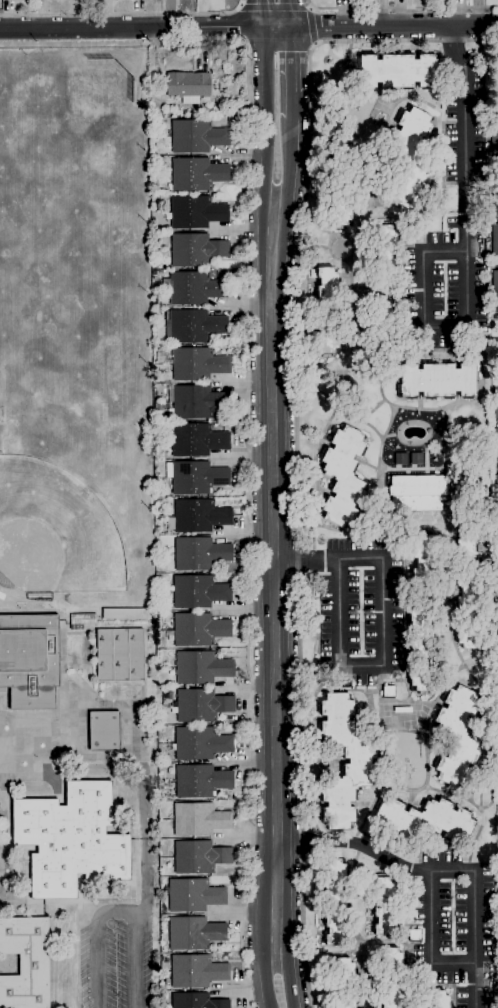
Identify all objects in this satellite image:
road: (275, 7)
road: (400, 7)
road: (277, 13)
road: (124, 14)
road: (388, 25)
road: (139, 27)
road: (312, 28)
road: (145, 33)
road: (73, 43)
building: (397, 71)
road: (287, 73)
building: (188, 86)
road: (345, 91)
park: (86, 105)
road: (269, 110)
building: (216, 112)
road: (334, 113)
road: (386, 118)
building: (494, 131)
building: (197, 136)
road: (356, 150)
building: (410, 157)
road: (288, 161)
building: (197, 174)
building: (338, 183)
building: (494, 199)
road: (381, 204)
building: (196, 212)
building: (495, 242)
road: (324, 247)
building: (195, 250)
road: (464, 253)
building: (383, 256)
building: (194, 288)
building: (495, 288)
road: (345, 305)
building: (327, 312)
building: (380, 325)
building: (194, 326)
building: (494, 346)
road: (390, 358)
building: (197, 364)
building: (438, 380)
road: (318, 392)
building: (495, 399)
building: (197, 402)
road: (375, 406)
road: (392, 410)
road: (295, 434)
road: (318, 436)
building: (197, 440)
building: (496, 446)
road: (387, 468)
building: (343, 476)
building: (197, 478)
building: (417, 493)
building: (496, 494)
building: (158, 500)
road: (370, 514)
building: (497, 515)
building: (197, 516)
road: (249, 524)
road: (397, 540)
park: (55, 541)
building: (199, 554)
building: (427, 563)
road: (273, 576)
building: (198, 592)
building: (470, 594)
road: (417, 596)
building: (125, 614)
building: (83, 619)
building: (199, 629)
road: (382, 633)
building: (425, 648)
building: (119, 657)
building: (29, 660)
building: (201, 667)
road: (451, 676)
road: (379, 678)
road: (327, 679)
building: (388, 691)
road: (314, 693)
road: (405, 704)
building: (201, 705)
building: (104, 731)
building: (456, 736)
building: (200, 743)
road: (485, 750)
building: (359, 761)
road: (311, 763)
building: (201, 781)
road: (491, 793)
building: (199, 819)
building: (423, 821)
road: (478, 831)
building: (71, 840)
building: (199, 857)
road: (439, 871)
building: (193, 895)
building: (334, 902)
building: (384, 906)
road: (115, 913)
building: (194, 933)
building: (414, 935)
road: (429, 940)
road: (392, 941)
road: (330, 953)
parking lot: (119, 959)
building: (25, 963)
building: (196, 971)
building: (387, 978)
road: (287, 981)
road: (268, 982)
building: (344, 983)
building: (435, 999)
building: (196, 1001)

